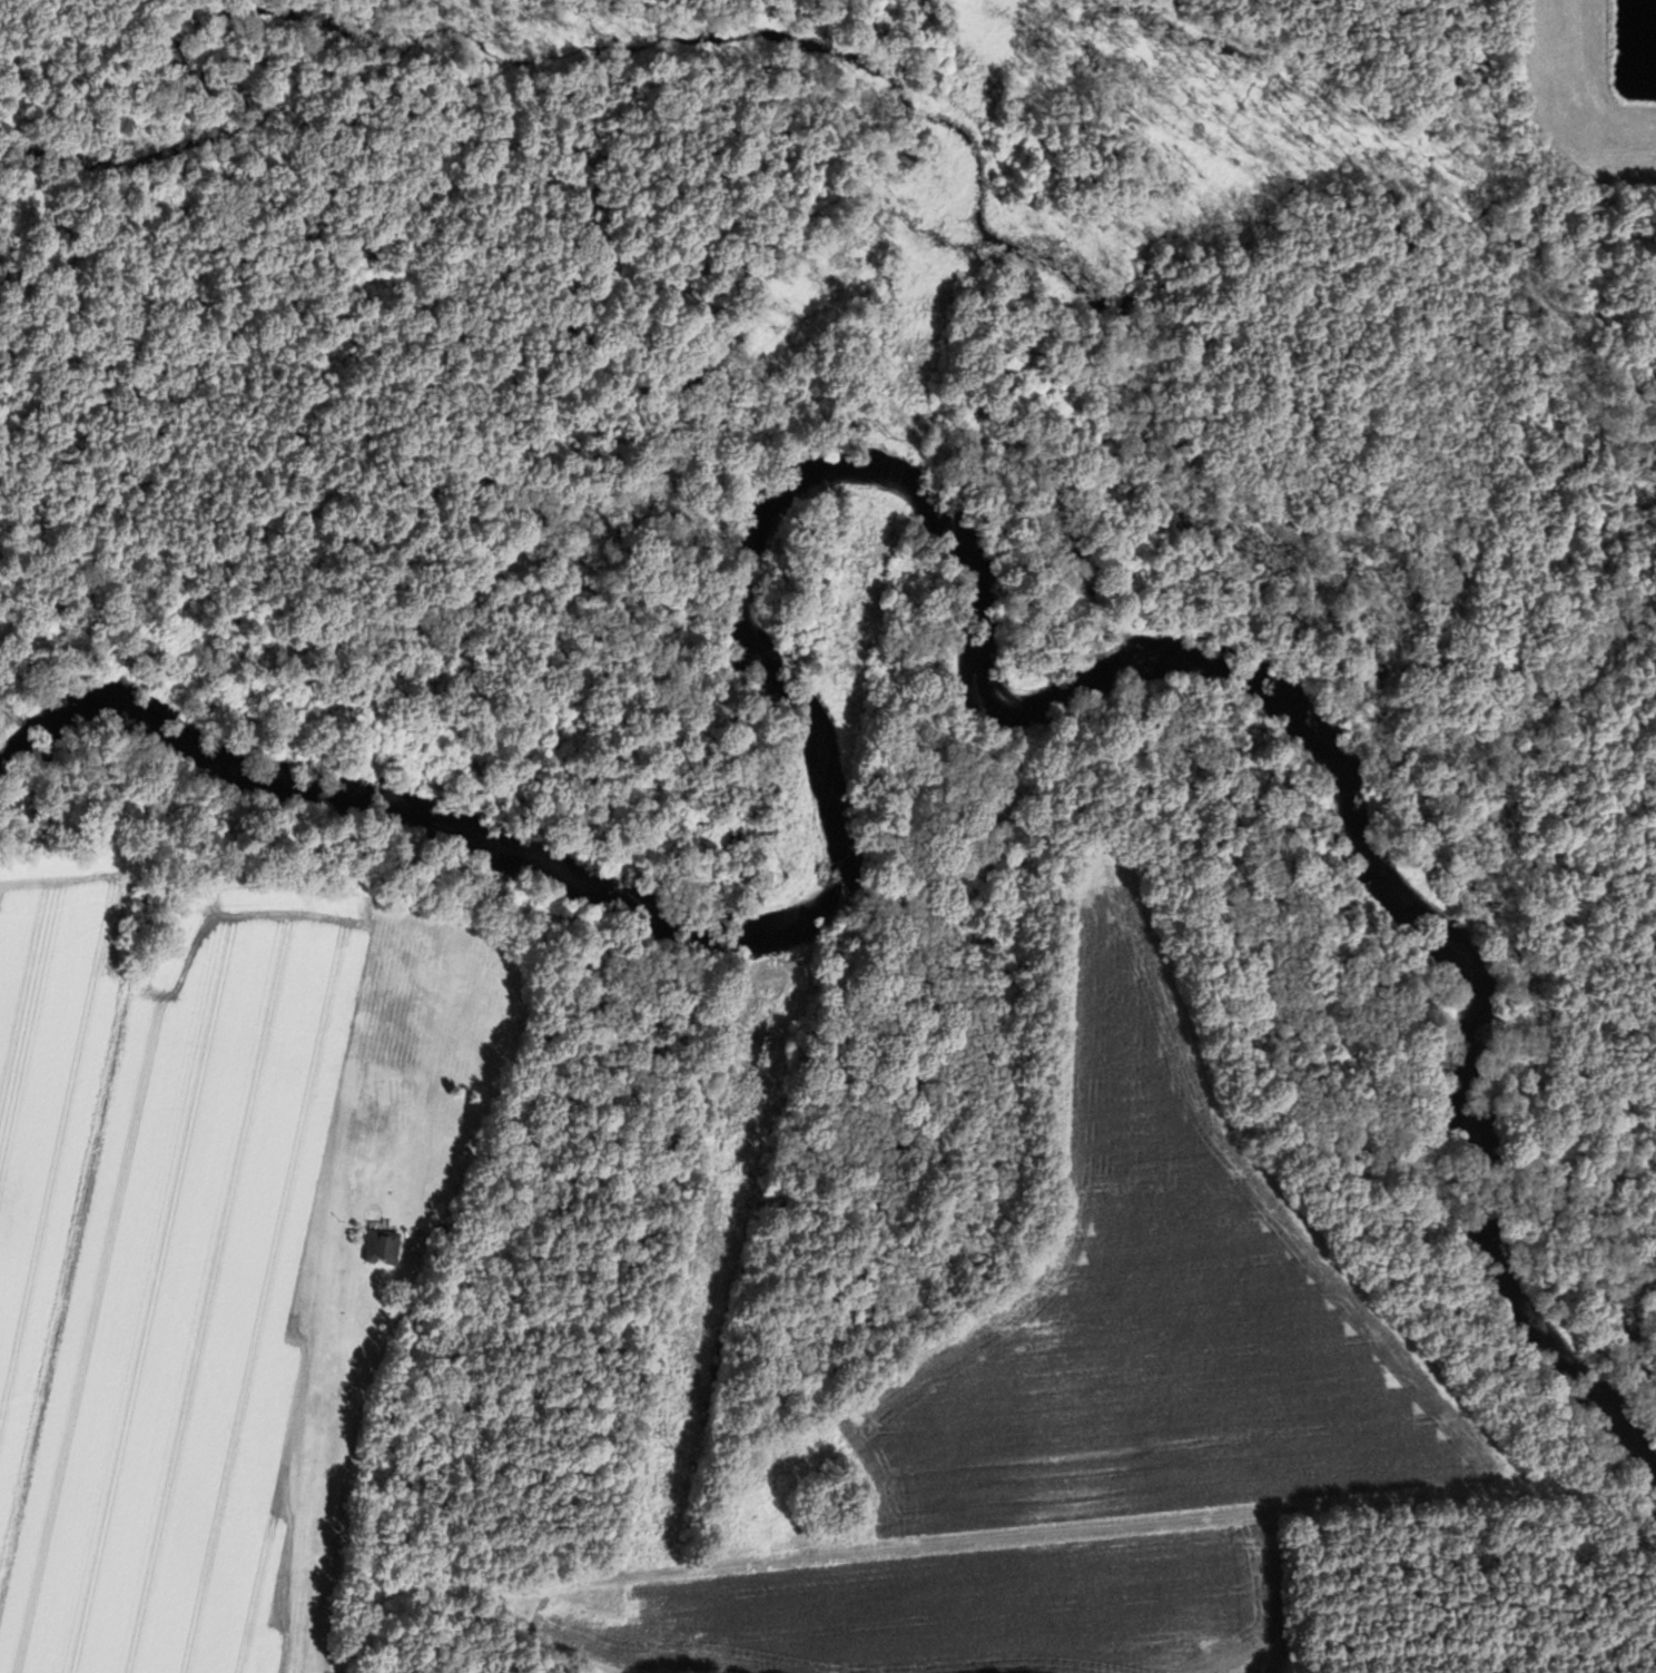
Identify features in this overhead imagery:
power tower: (900, 435)
river: (815, 480)
power tower: (783, 954)
building: (387, 1246)
power tower: (671, 1446)

